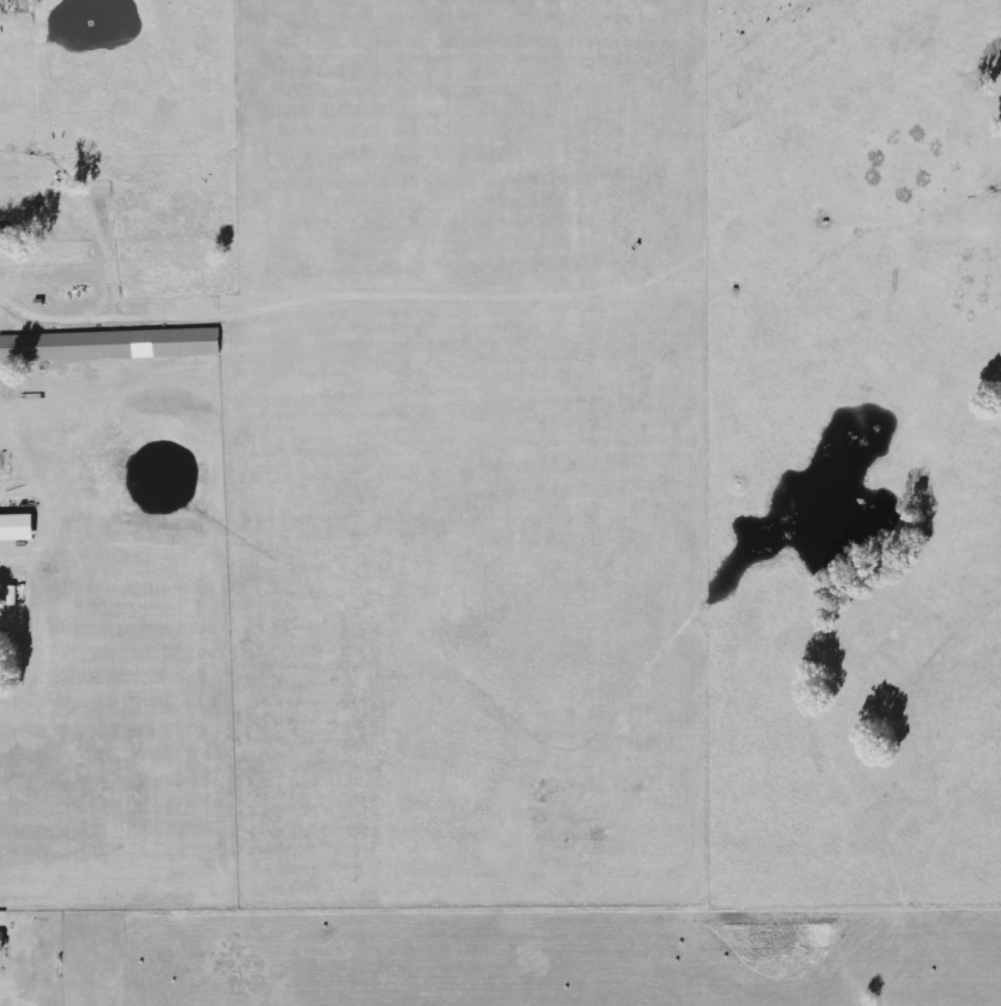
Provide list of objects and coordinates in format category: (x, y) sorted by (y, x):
building: (110, 345)
building: (17, 527)
building: (2, 941)

